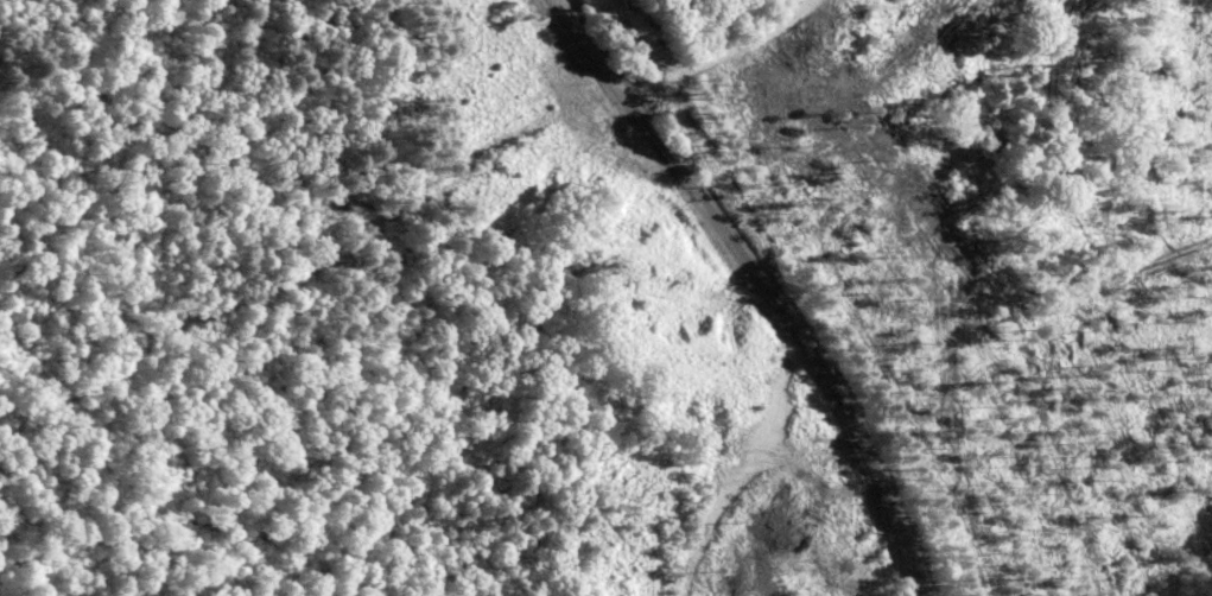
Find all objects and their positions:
road: (759, 291)

